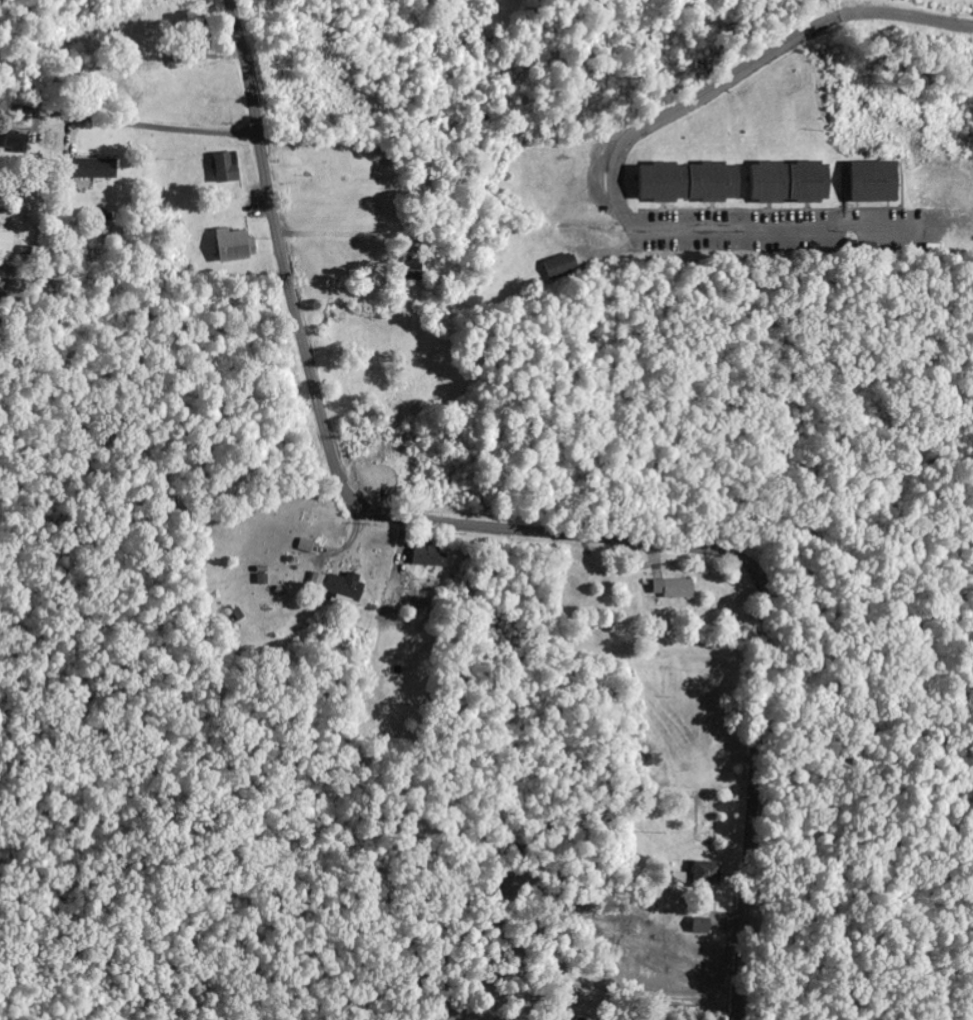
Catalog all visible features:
road: (128, 123)
road: (630, 139)
building: (18, 142)
building: (92, 169)
building: (220, 169)
building: (680, 184)
building: (781, 184)
building: (862, 184)
building: (7, 242)
building: (228, 247)
road: (521, 531)
building: (419, 555)
building: (338, 588)
building: (670, 590)
building: (702, 882)
building: (697, 927)

